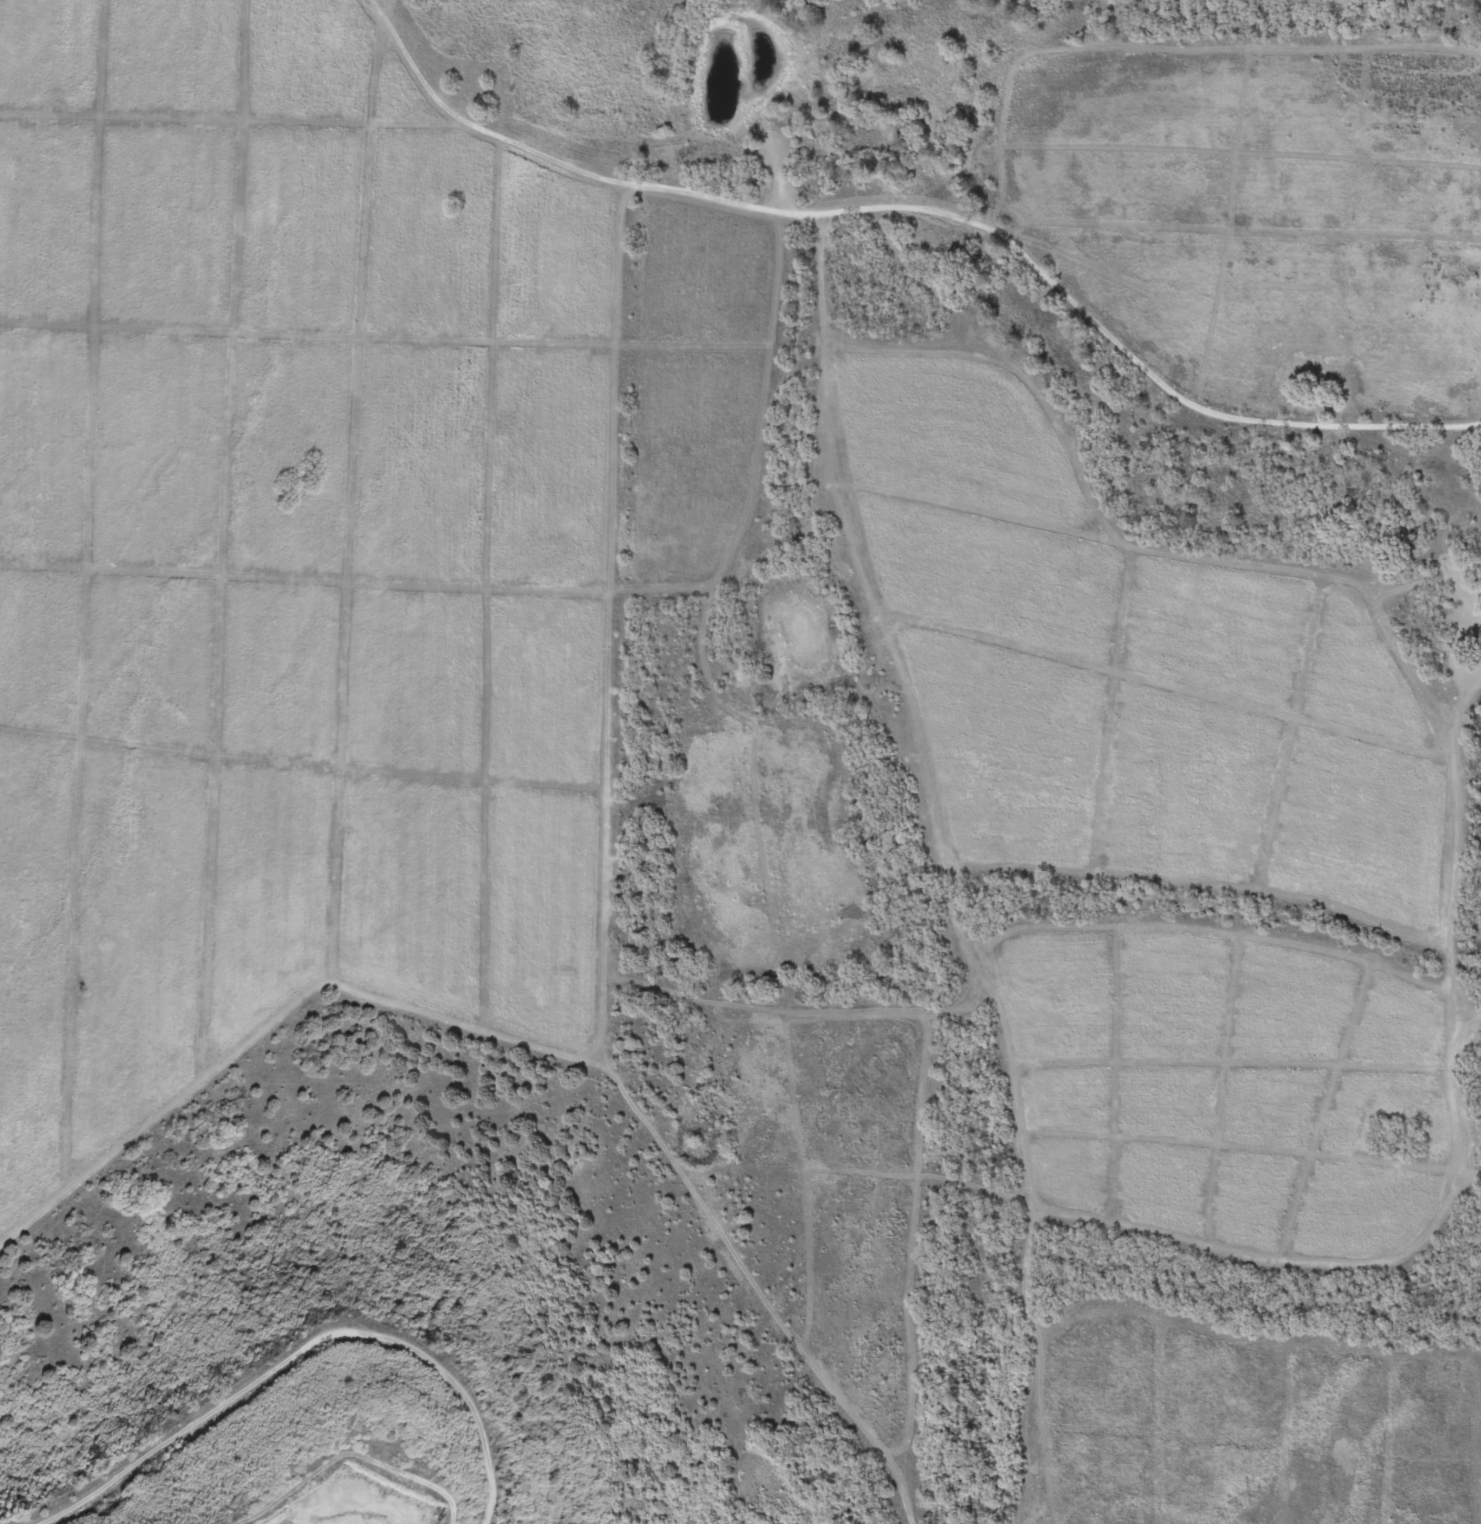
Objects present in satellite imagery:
road: (276, 1361)

